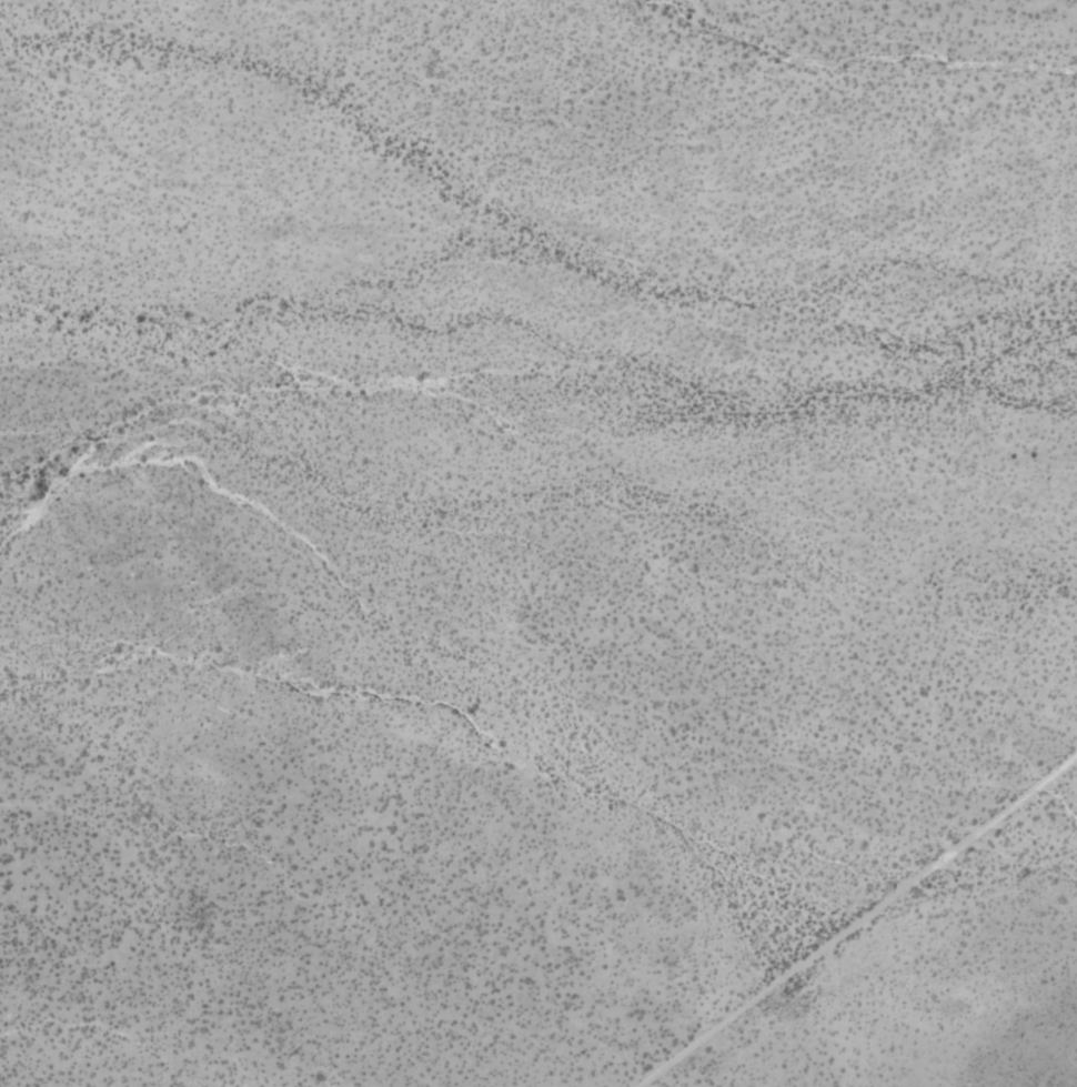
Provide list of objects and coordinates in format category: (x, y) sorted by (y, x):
road: (847, 944)

